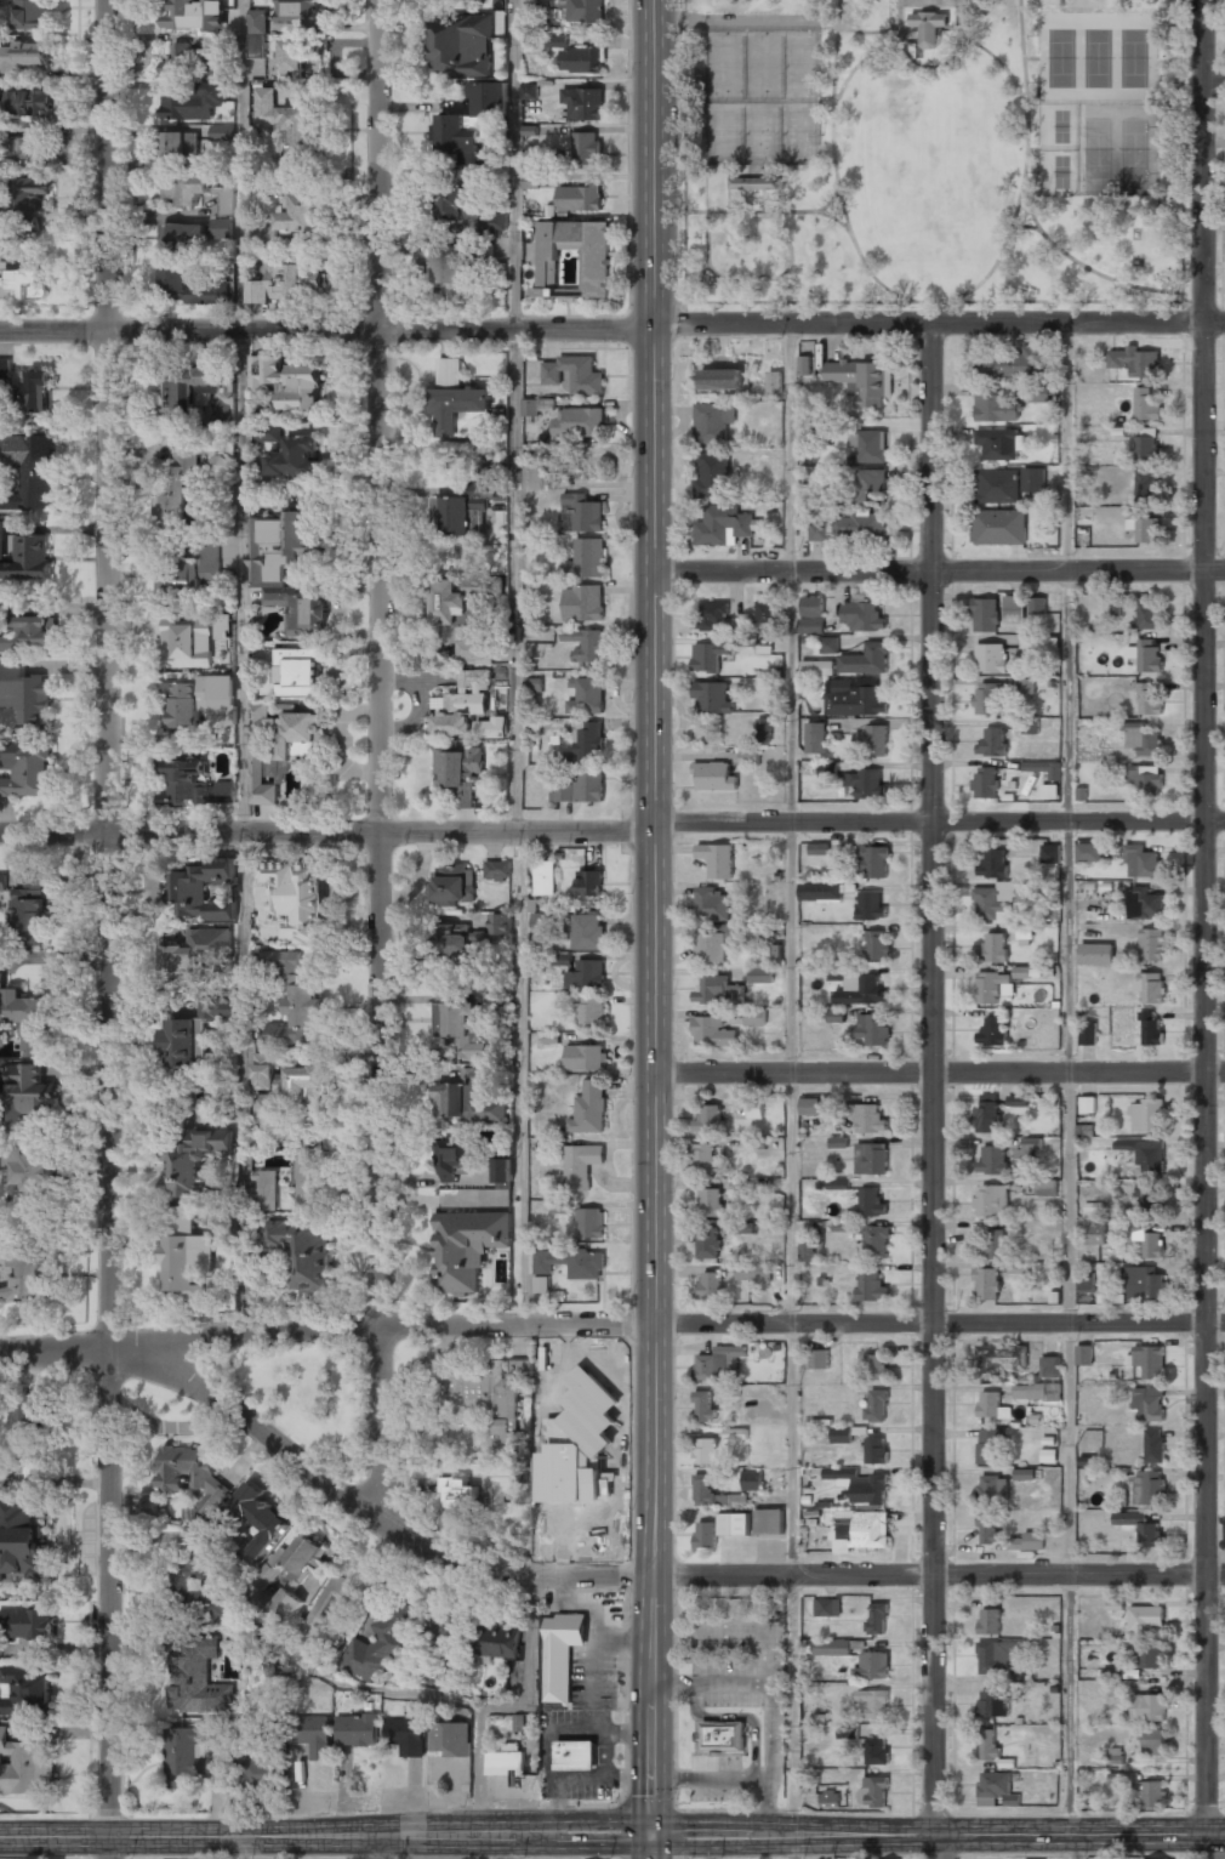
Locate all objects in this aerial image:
road: (930, 1)
road: (931, 2)
building: (585, 10)
building: (302, 12)
building: (30, 13)
building: (193, 15)
building: (258, 21)
road: (735, 22)
building: (930, 27)
road: (876, 32)
building: (257, 45)
building: (461, 45)
road: (1025, 46)
road: (838, 52)
building: (294, 56)
building: (193, 59)
building: (580, 61)
road: (931, 66)
road: (1215, 78)
building: (2, 79)
building: (529, 91)
park: (763, 98)
building: (192, 102)
park: (1100, 102)
building: (583, 104)
building: (284, 116)
building: (468, 124)
building: (222, 133)
building: (178, 144)
building: (30, 149)
building: (586, 149)
park: (928, 155)
road: (836, 157)
road: (1026, 161)
building: (530, 180)
building: (757, 183)
building: (183, 188)
building: (29, 193)
road: (730, 193)
building: (579, 199)
building: (226, 201)
road: (1029, 201)
building: (471, 209)
road: (768, 210)
building: (291, 216)
building: (222, 229)
building: (183, 237)
building: (572, 260)
building: (28, 272)
building: (450, 272)
road: (1095, 272)
road: (753, 277)
building: (287, 280)
building: (193, 286)
road: (1206, 286)
road: (653, 288)
road: (779, 289)
road: (107, 297)
road: (388, 299)
road: (935, 302)
road: (780, 312)
road: (612, 330)
building: (1135, 362)
building: (1013, 363)
building: (722, 374)
building: (572, 375)
building: (864, 379)
building: (289, 381)
building: (775, 381)
building: (193, 388)
building: (25, 390)
building: (1043, 392)
building: (455, 398)
building: (1147, 404)
building: (530, 407)
building: (996, 408)
road: (243, 415)
building: (713, 421)
building: (579, 423)
building: (824, 425)
building: (267, 432)
building: (1002, 443)
building: (868, 445)
building: (1146, 447)
road: (936, 448)
building: (295, 455)
building: (28, 471)
building: (714, 474)
building: (217, 477)
building: (535, 477)
building: (1033, 478)
building: (871, 485)
building: (997, 485)
building: (1145, 485)
building: (177, 489)
building: (462, 511)
building: (581, 515)
building: (475, 522)
building: (723, 524)
building: (862, 525)
building: (1144, 525)
building: (998, 527)
building: (821, 531)
building: (1, 539)
building: (29, 559)
building: (586, 559)
building: (188, 567)
road: (940, 573)
building: (268, 578)
building: (582, 603)
building: (813, 604)
building: (1038, 606)
building: (768, 608)
building: (1014, 608)
building: (864, 614)
building: (986, 614)
building: (1147, 614)
building: (711, 615)
building: (457, 618)
building: (810, 625)
building: (29, 633)
building: (425, 638)
building: (1029, 641)
building: (184, 643)
building: (585, 643)
building: (1146, 654)
building: (708, 655)
building: (991, 658)
building: (866, 659)
road: (518, 663)
building: (298, 672)
building: (472, 680)
building: (535, 684)
building: (1026, 686)
building: (27, 690)
building: (586, 695)
building: (713, 697)
building: (854, 697)
building: (990, 698)
building: (1150, 699)
building: (189, 700)
building: (456, 716)
building: (1030, 724)
building: (764, 729)
building: (815, 737)
building: (1143, 739)
building: (588, 740)
building: (871, 740)
building: (992, 741)
building: (279, 749)
building: (750, 756)
building: (25, 768)
building: (1044, 768)
building: (457, 771)
building: (714, 775)
building: (1146, 779)
building: (986, 781)
building: (867, 783)
building: (193, 786)
building: (581, 789)
road: (612, 831)
building: (819, 848)
building: (1089, 852)
building: (1050, 853)
building: (717, 859)
building: (876, 860)
building: (1141, 860)
building: (992, 864)
building: (497, 871)
building: (34, 875)
building: (545, 875)
building: (1, 882)
building: (591, 883)
building: (454, 885)
building: (193, 888)
building: (290, 891)
building: (820, 891)
building: (996, 900)
building: (712, 903)
building: (1144, 903)
building: (871, 905)
building: (30, 911)
building: (541, 921)
building: (500, 925)
building: (586, 933)
building: (1024, 934)
building: (455, 940)
building: (1151, 944)
building: (876, 945)
building: (711, 946)
building: (995, 946)
building: (189, 951)
building: (1096, 953)
building: (562, 959)
building: (1021, 971)
building: (586, 974)
building: (762, 974)
building: (1, 980)
building: (993, 985)
building: (1150, 988)
building: (718, 990)
building: (861, 990)
building: (297, 994)
building: (21, 1007)
building: (215, 1008)
building: (592, 1012)
building: (837, 1014)
building: (756, 1017)
building: (461, 1028)
building: (873, 1028)
building: (1151, 1028)
building: (993, 1030)
building: (713, 1031)
building: (1088, 1033)
building: (183, 1041)
building: (586, 1057)
road: (381, 1062)
road: (940, 1071)
building: (287, 1078)
road: (792, 1078)
road: (1069, 1078)
road: (244, 1084)
building: (30, 1093)
building: (455, 1093)
building: (1018, 1099)
building: (269, 1105)
building: (810, 1105)
building: (756, 1108)
building: (589, 1109)
building: (987, 1112)
building: (1146, 1115)
building: (867, 1118)
building: (708, 1119)
building: (1029, 1147)
building: (1145, 1153)
building: (705, 1158)
building: (872, 1158)
building: (992, 1160)
building: (194, 1161)
building: (452, 1161)
building: (581, 1165)
building: (36, 1171)
building: (503, 1172)
building: (308, 1178)
building: (1045, 1187)
building: (267, 1189)
building: (1145, 1195)
building: (992, 1199)
building: (711, 1201)
building: (871, 1201)
building: (562, 1206)
road: (935, 1216)
road: (1207, 1216)
road: (655, 1217)
building: (591, 1223)
building: (844, 1226)
road: (112, 1227)
building: (741, 1227)
building: (1095, 1233)
building: (1149, 1240)
building: (708, 1241)
building: (877, 1241)
building: (993, 1244)
building: (467, 1247)
building: (303, 1251)
building: (807, 1251)
building: (180, 1257)
building: (570, 1263)
building: (752, 1272)
building: (25, 1278)
building: (1087, 1281)
building: (988, 1283)
building: (1140, 1284)
building: (871, 1285)
building: (710, 1286)
road: (940, 1323)
road: (326, 1329)
building: (1084, 1354)
building: (819, 1359)
building: (1001, 1359)
building: (1149, 1360)
building: (720, 1363)
building: (876, 1366)
building: (1050, 1366)
building: (583, 1391)
building: (733, 1391)
building: (1037, 1391)
building: (486, 1393)
park: (303, 1398)
building: (1150, 1403)
building: (992, 1405)
building: (705, 1406)
building: (38, 1415)
building: (842, 1434)
building: (502, 1436)
building: (991, 1445)
building: (1153, 1445)
building: (706, 1450)
building: (876, 1450)
building: (1025, 1473)
building: (192, 1474)
building: (752, 1479)
building: (860, 1484)
building: (1149, 1486)
building: (988, 1488)
building: (460, 1491)
building: (714, 1494)
building: (150, 1502)
building: (261, 1517)
building: (29, 1518)
road: (376, 1518)
building: (770, 1522)
building: (735, 1523)
building: (1141, 1528)
building: (860, 1529)
building: (990, 1529)
building: (580, 1533)
building: (706, 1534)
building: (1027, 1541)
building: (295, 1560)
building: (190, 1570)
road: (940, 1574)
building: (285, 1604)
building: (827, 1607)
building: (324, 1608)
building: (1145, 1618)
building: (878, 1619)
building: (990, 1621)
building: (27, 1624)
building: (439, 1635)
building: (498, 1642)
building: (380, 1644)
building: (832, 1647)
building: (0, 1648)
building: (562, 1654)
building: (1144, 1654)
building: (998, 1655)
building: (872, 1666)
building: (1113, 1675)
building: (195, 1679)
building: (24, 1689)
building: (874, 1702)
building: (995, 1702)
building: (1149, 1707)
building: (523, 1722)
building: (357, 1732)
building: (405, 1735)
building: (313, 1736)
building: (720, 1736)
building: (450, 1740)
building: (1152, 1740)
building: (990, 1745)
building: (877, 1751)
building: (575, 1756)
building: (188, 1762)
building: (505, 1763)
building: (23, 1766)
building: (256, 1773)
building: (1121, 1781)
building: (997, 1790)
building: (873, 1791)
building: (1153, 1793)
building: (830, 1798)
road: (612, 1830)
traffic signals: (654, 1830)
road: (245, 1844)
road: (514, 1844)
road: (384, 1846)
road: (796, 1846)
road: (1076, 1847)

